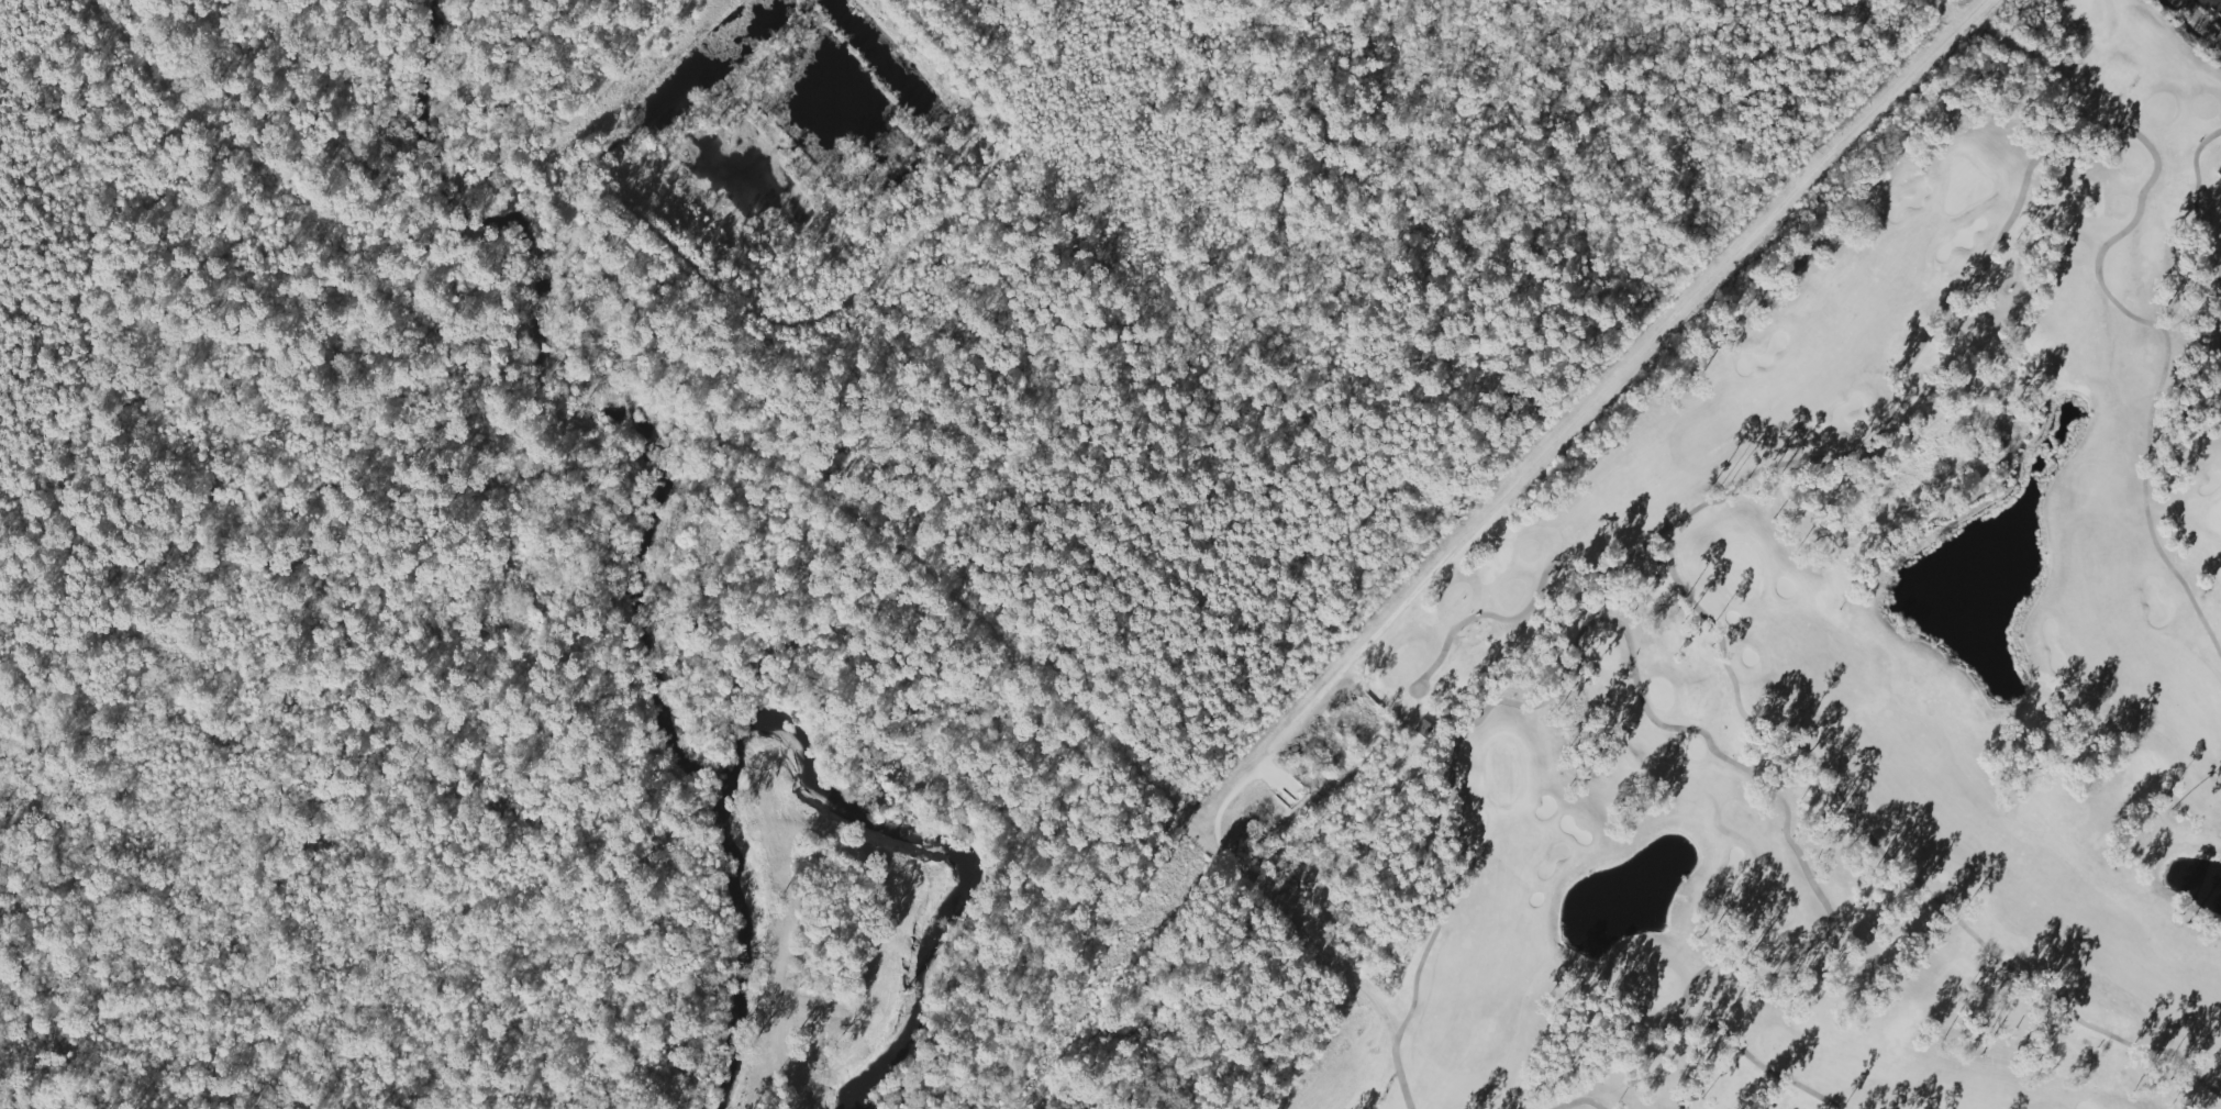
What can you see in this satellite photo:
road: (2218, 1)
building: (2218, 173)
road: (1586, 408)
park: (1721, 654)
river: (810, 764)

